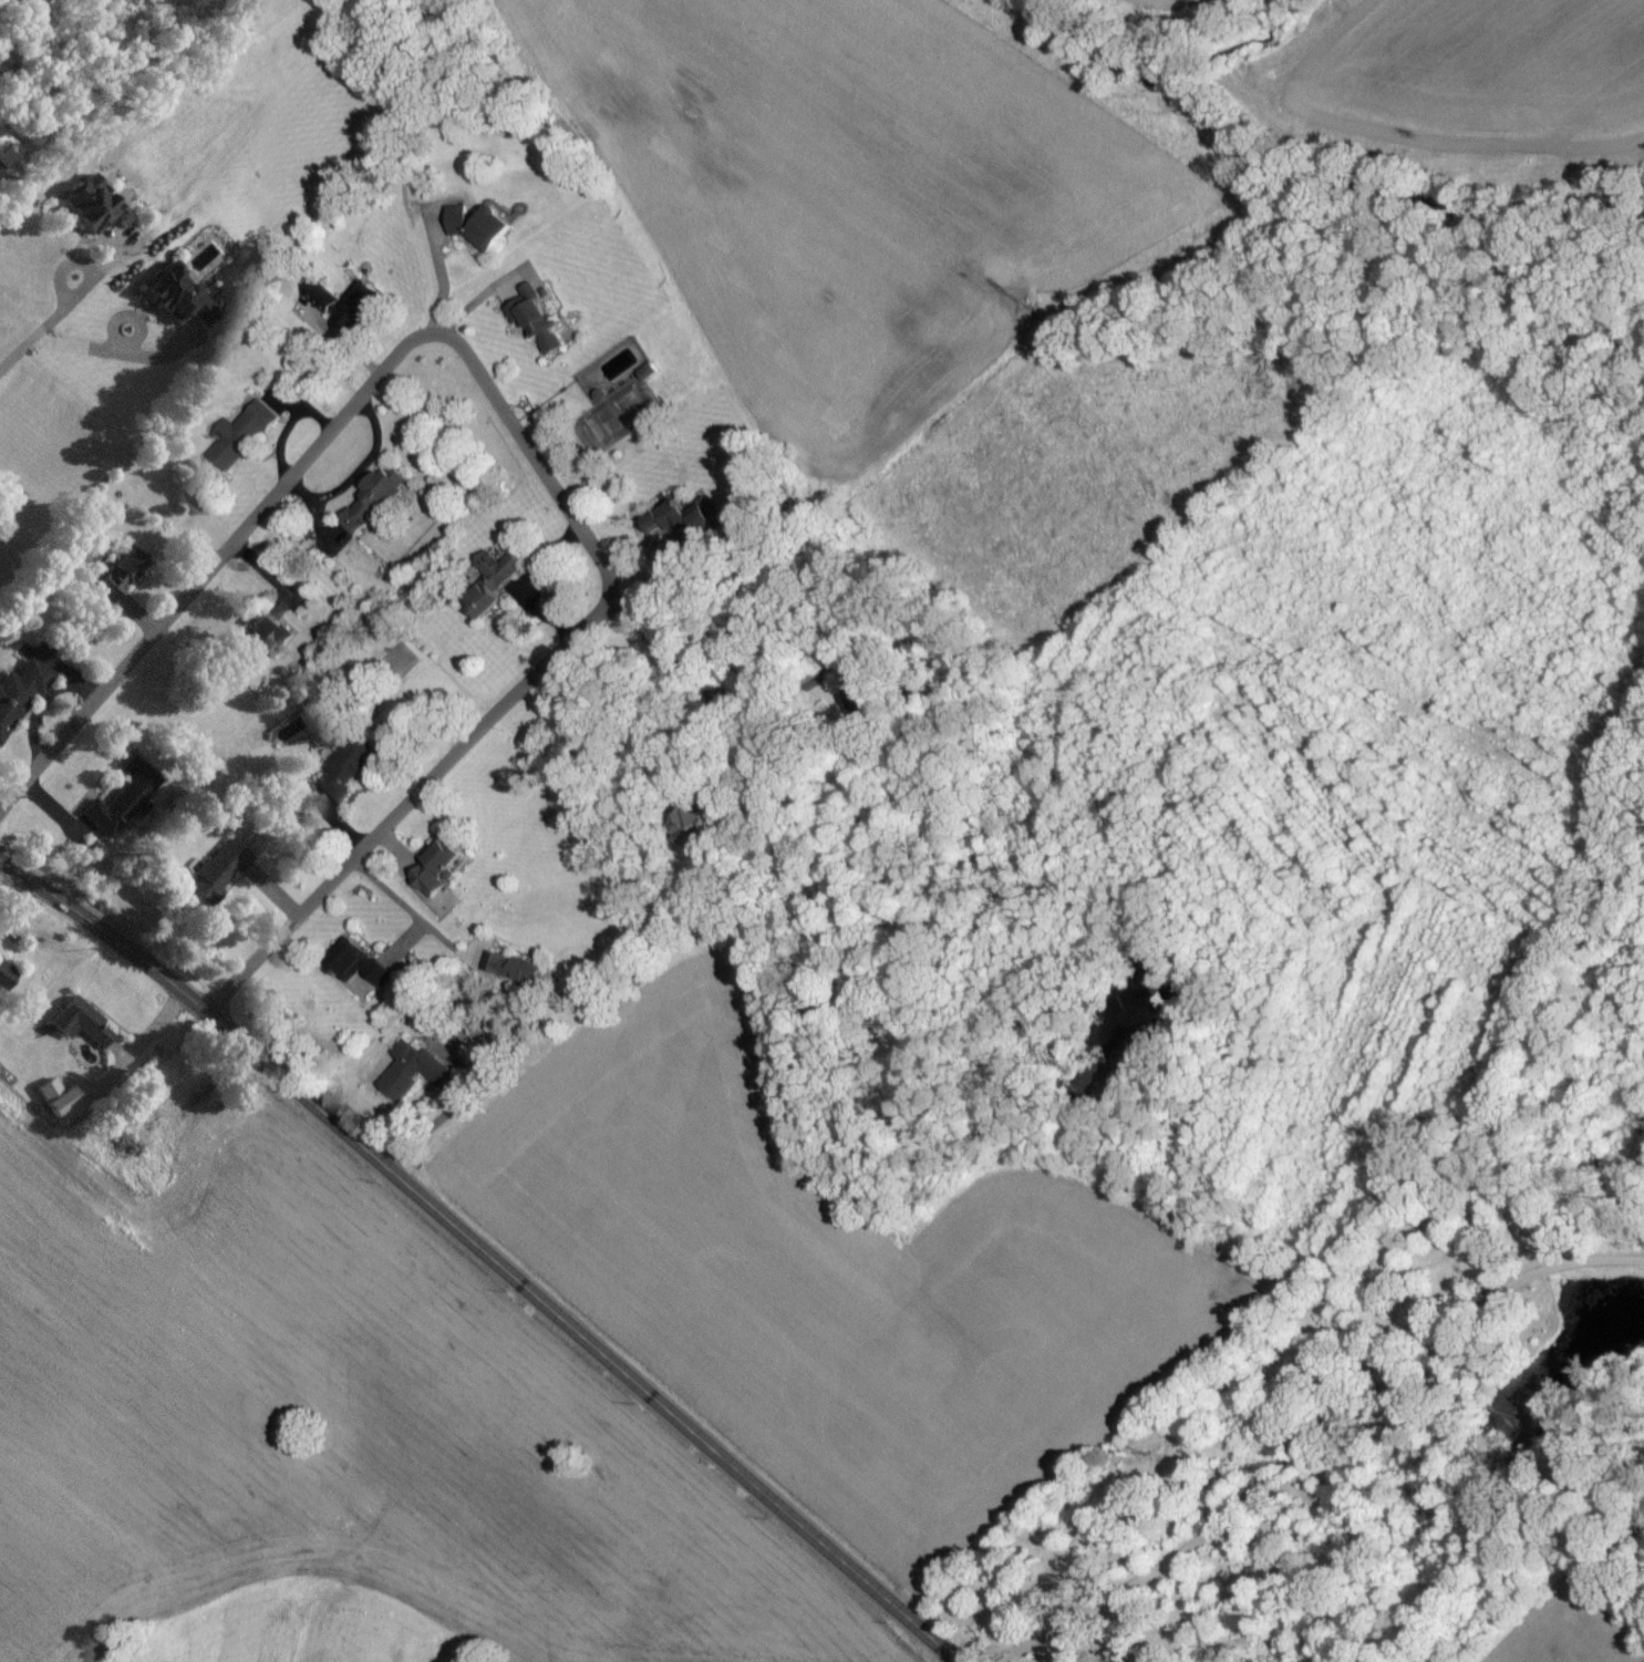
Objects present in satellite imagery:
building: (7, 156)
building: (476, 233)
building: (174, 302)
road: (70, 307)
building: (533, 326)
road: (514, 433)
building: (242, 440)
building: (371, 504)
building: (674, 527)
building: (508, 574)
building: (116, 582)
building: (476, 603)
building: (249, 647)
building: (400, 665)
road: (697, 680)
building: (18, 698)
building: (351, 768)
building: (131, 797)
building: (436, 871)
building: (215, 877)
road: (409, 912)
building: (355, 975)
building: (511, 975)
building: (4, 980)
building: (79, 1030)
building: (410, 1076)
building: (173, 1082)
building: (55, 1104)
road: (482, 1255)
road: (1316, 1444)

